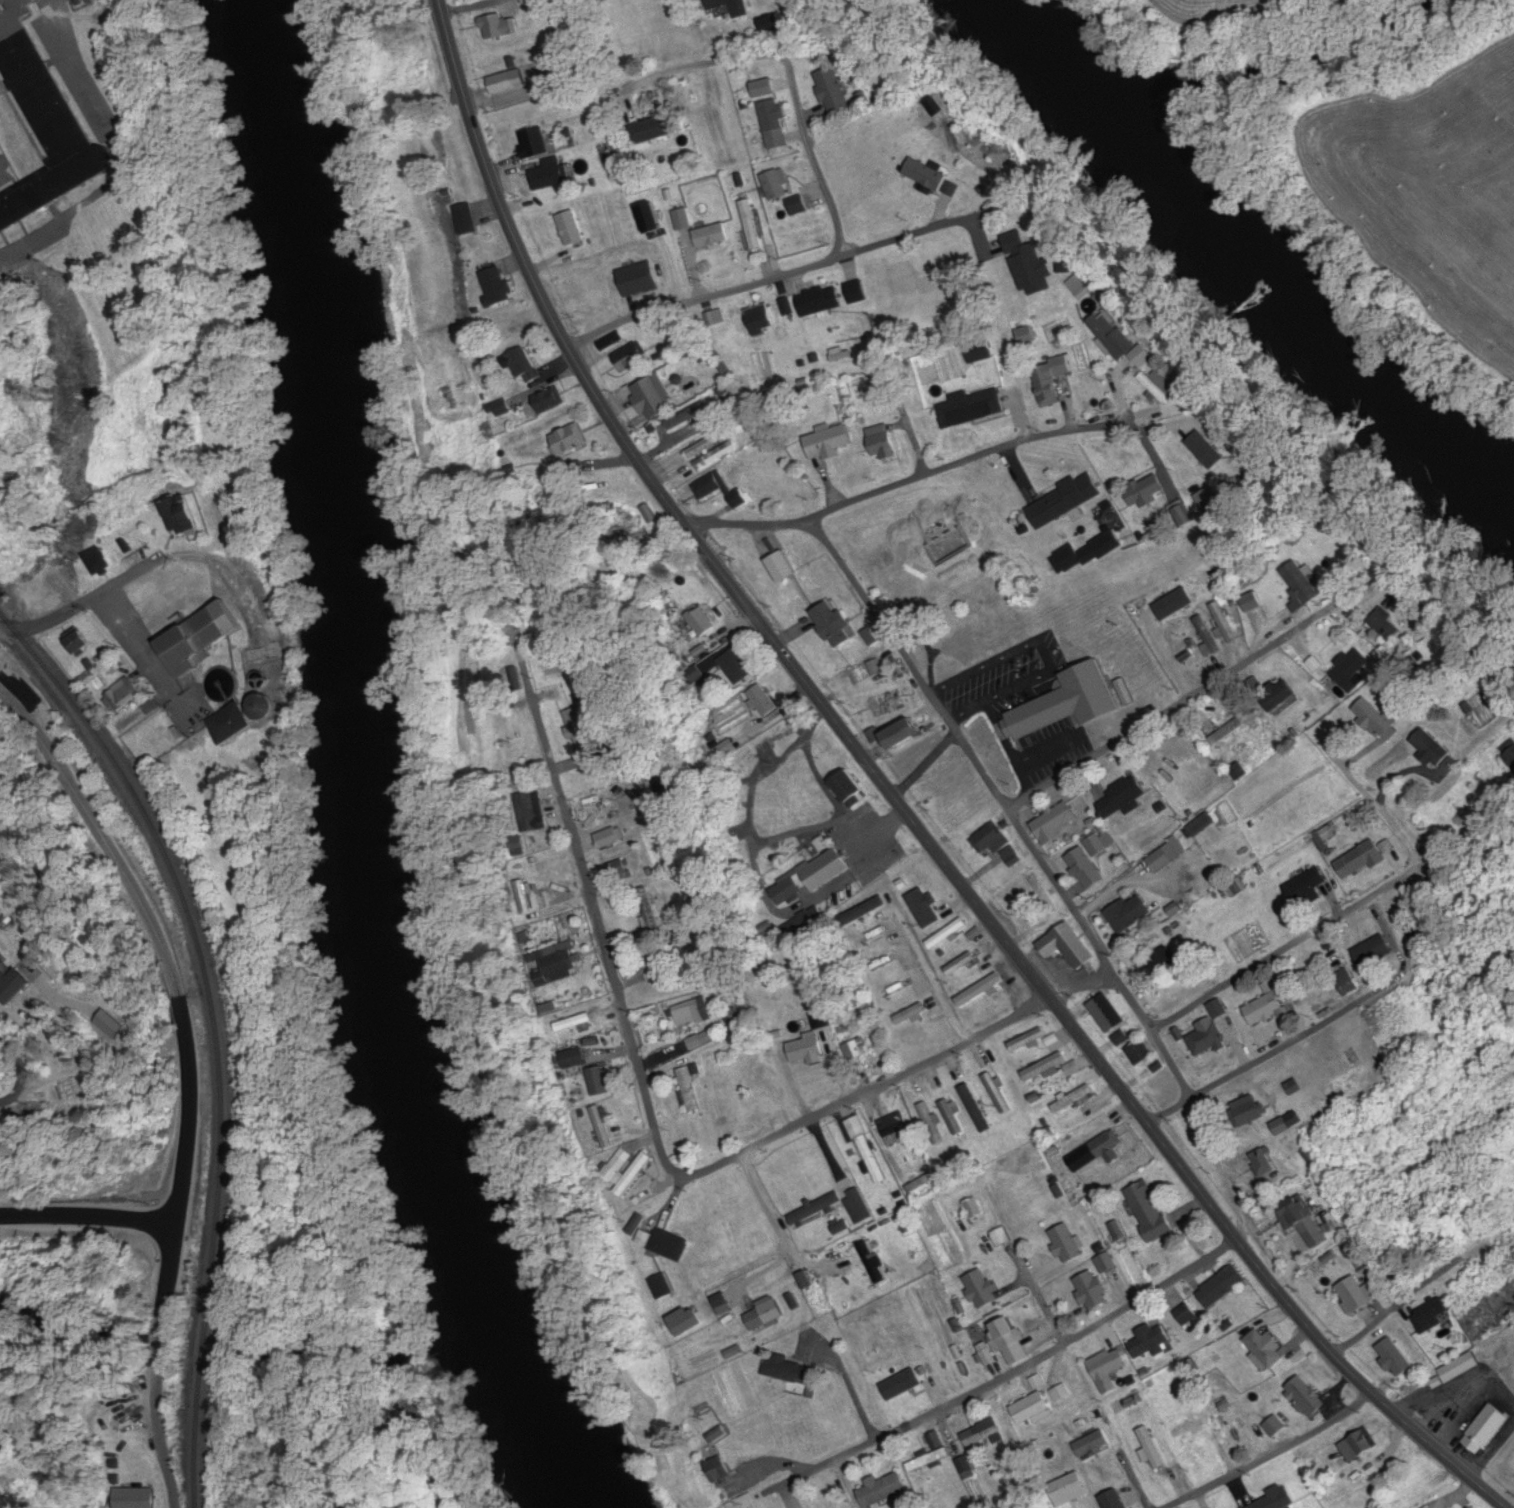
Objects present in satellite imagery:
building: (725, 4)
road: (470, 7)
building: (499, 25)
building: (508, 81)
building: (833, 91)
building: (45, 120)
building: (775, 123)
building: (654, 129)
building: (875, 132)
building: (533, 142)
building: (450, 145)
road: (119, 152)
building: (548, 174)
building: (927, 174)
building: (777, 183)
building: (798, 205)
road: (832, 209)
building: (467, 218)
building: (751, 224)
building: (566, 225)
building: (712, 235)
river: (1252, 260)
building: (498, 286)
building: (856, 291)
building: (821, 300)
building: (760, 318)
building: (1120, 339)
building: (610, 341)
building: (631, 357)
building: (525, 365)
building: (1049, 380)
building: (1161, 385)
building: (653, 397)
building: (548, 401)
building: (972, 409)
building: (687, 416)
road: (1183, 421)
building: (711, 441)
building: (831, 441)
building: (567, 442)
building: (884, 443)
building: (1205, 446)
road: (920, 476)
building: (712, 486)
building: (740, 499)
building: (1208, 500)
building: (1065, 501)
building: (182, 515)
building: (99, 563)
building: (780, 567)
building: (1303, 584)
road: (58, 616)
building: (833, 622)
building: (1387, 625)
building: (1207, 637)
building: (80, 642)
building: (198, 643)
road: (909, 662)
building: (1351, 669)
building: (1280, 694)
building: (120, 696)
building: (764, 700)
building: (1069, 705)
building: (879, 706)
road: (1176, 706)
building: (1375, 718)
building: (236, 724)
building: (581, 728)
building: (784, 731)
building: (1226, 731)
building: (905, 734)
building: (162, 738)
building: (1431, 747)
building: (1508, 753)
river: (361, 770)
building: (1202, 780)
building: (849, 790)
building: (1130, 794)
road: (897, 802)
building: (738, 805)
building: (530, 811)
building: (1200, 824)
building: (609, 838)
building: (998, 845)
building: (1173, 848)
building: (1360, 860)
building: (1086, 869)
building: (617, 870)
building: (810, 878)
building: (1312, 891)
building: (1039, 892)
building: (526, 898)
road: (138, 903)
building: (647, 909)
building: (1130, 914)
road: (1081, 920)
building: (947, 934)
road: (1294, 946)
building: (1067, 947)
building: (1374, 952)
building: (554, 964)
building: (957, 965)
building: (655, 970)
building: (1345, 981)
road: (1084, 989)
building: (1265, 1008)
building: (693, 1012)
building: (1107, 1014)
building: (912, 1015)
building: (574, 1023)
road: (1311, 1031)
railway: (210, 1032)
building: (1029, 1039)
building: (701, 1040)
building: (1207, 1040)
building: (806, 1050)
building: (1140, 1052)
building: (575, 1059)
building: (0, 1064)
building: (1045, 1066)
building: (1073, 1068)
road: (18, 1077)
building: (600, 1081)
building: (688, 1087)
building: (997, 1093)
building: (1072, 1097)
building: (1271, 1100)
building: (764, 1106)
building: (975, 1108)
building: (1249, 1113)
building: (953, 1121)
building: (1289, 1122)
building: (931, 1123)
road: (654, 1125)
building: (603, 1127)
building: (896, 1128)
road: (1207, 1134)
building: (1101, 1146)
building: (866, 1148)
building: (1264, 1161)
building: (628, 1172)
road: (102, 1204)
building: (833, 1208)
building: (1151, 1215)
building: (1304, 1217)
road: (108, 1229)
building: (1000, 1237)
building: (665, 1243)
building: (1066, 1243)
building: (871, 1262)
building: (1106, 1263)
road: (168, 1265)
building: (982, 1288)
building: (1093, 1289)
building: (1466, 1293)
building: (1356, 1294)
road: (1040, 1302)
building: (764, 1314)
building: (1431, 1315)
building: (1184, 1316)
building: (1151, 1340)
building: (1008, 1341)
building: (1264, 1349)
building: (1108, 1369)
building: (789, 1374)
road: (1009, 1376)
building: (1305, 1397)
road: (1257, 1408)
building: (1032, 1409)
building: (1242, 1424)
building: (1487, 1428)
building: (983, 1434)
building: (937, 1444)
building: (1093, 1444)
building: (1359, 1446)
road: (162, 1447)
building: (1151, 1448)
road: (1273, 1455)
building: (966, 1468)
road: (1121, 1486)
building: (739, 1488)
building: (883, 1490)
building: (136, 1497)
building: (1276, 1501)
building: (1115, 1503)

